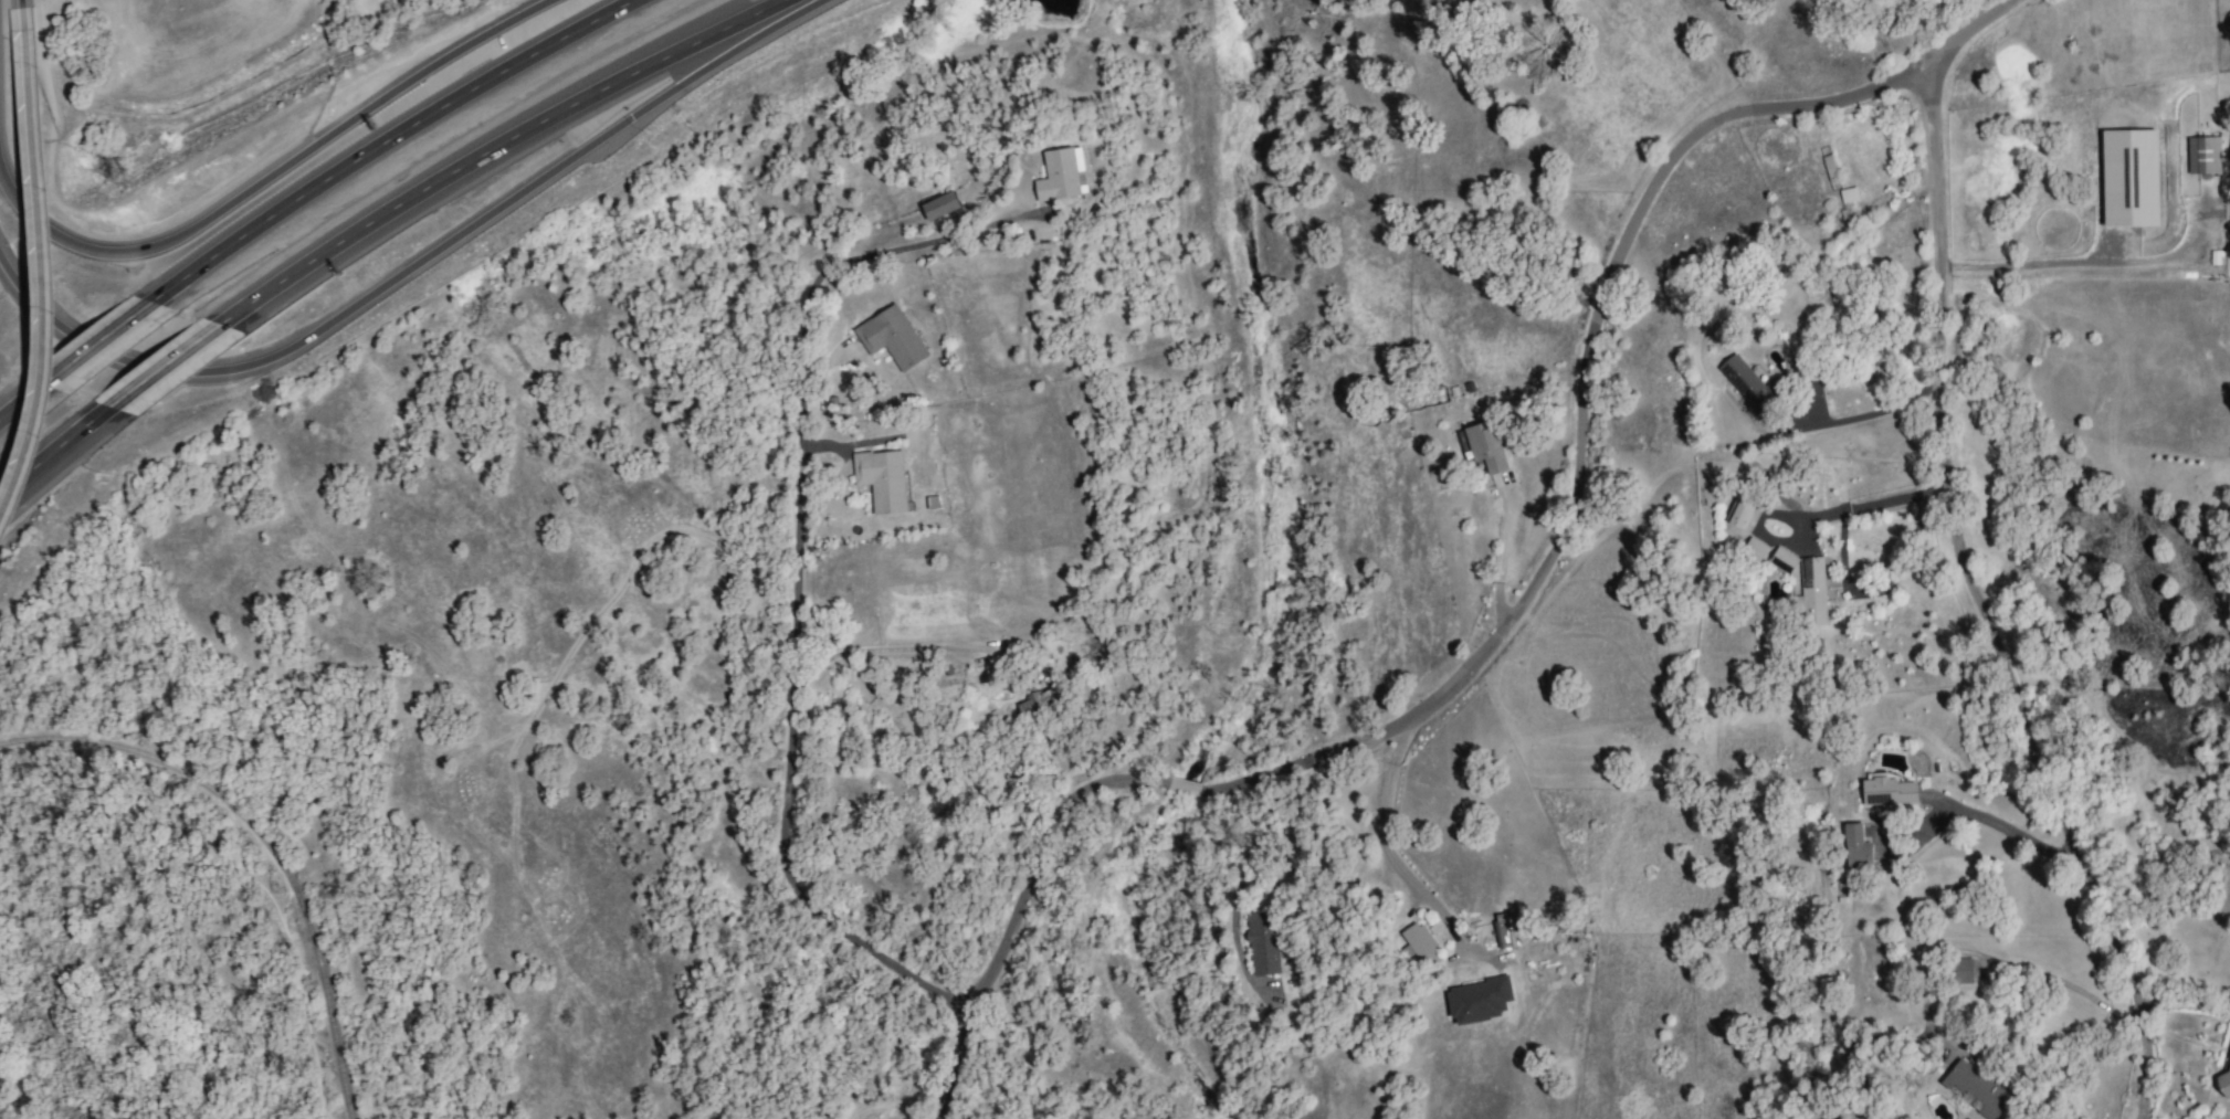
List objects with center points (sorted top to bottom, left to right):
road: (20, 14)
road: (393, 142)
building: (2202, 155)
road: (499, 156)
road: (272, 175)
building: (2131, 178)
building: (1848, 196)
building: (939, 205)
road: (915, 246)
road: (2084, 264)
road: (416, 271)
road: (50, 279)
building: (891, 337)
road: (108, 345)
road: (166, 374)
building: (1746, 384)
road: (31, 403)
road: (1870, 414)
building: (1482, 446)
road: (52, 455)
building: (882, 479)
road: (1859, 506)
building: (1740, 511)
building: (1754, 549)
building: (1781, 560)
building: (1812, 590)
road: (1523, 603)
road: (1979, 604)
road: (795, 682)
building: (1038, 705)
park: (141, 787)
building: (1886, 791)
road: (2013, 835)
railway: (259, 843)
building: (1855, 848)
road: (1389, 862)
building: (1501, 931)
building: (1262, 943)
building: (1420, 944)
road: (2001, 963)
building: (1974, 970)
building: (1959, 971)
building: (2223, 1083)
building: (1977, 1089)

